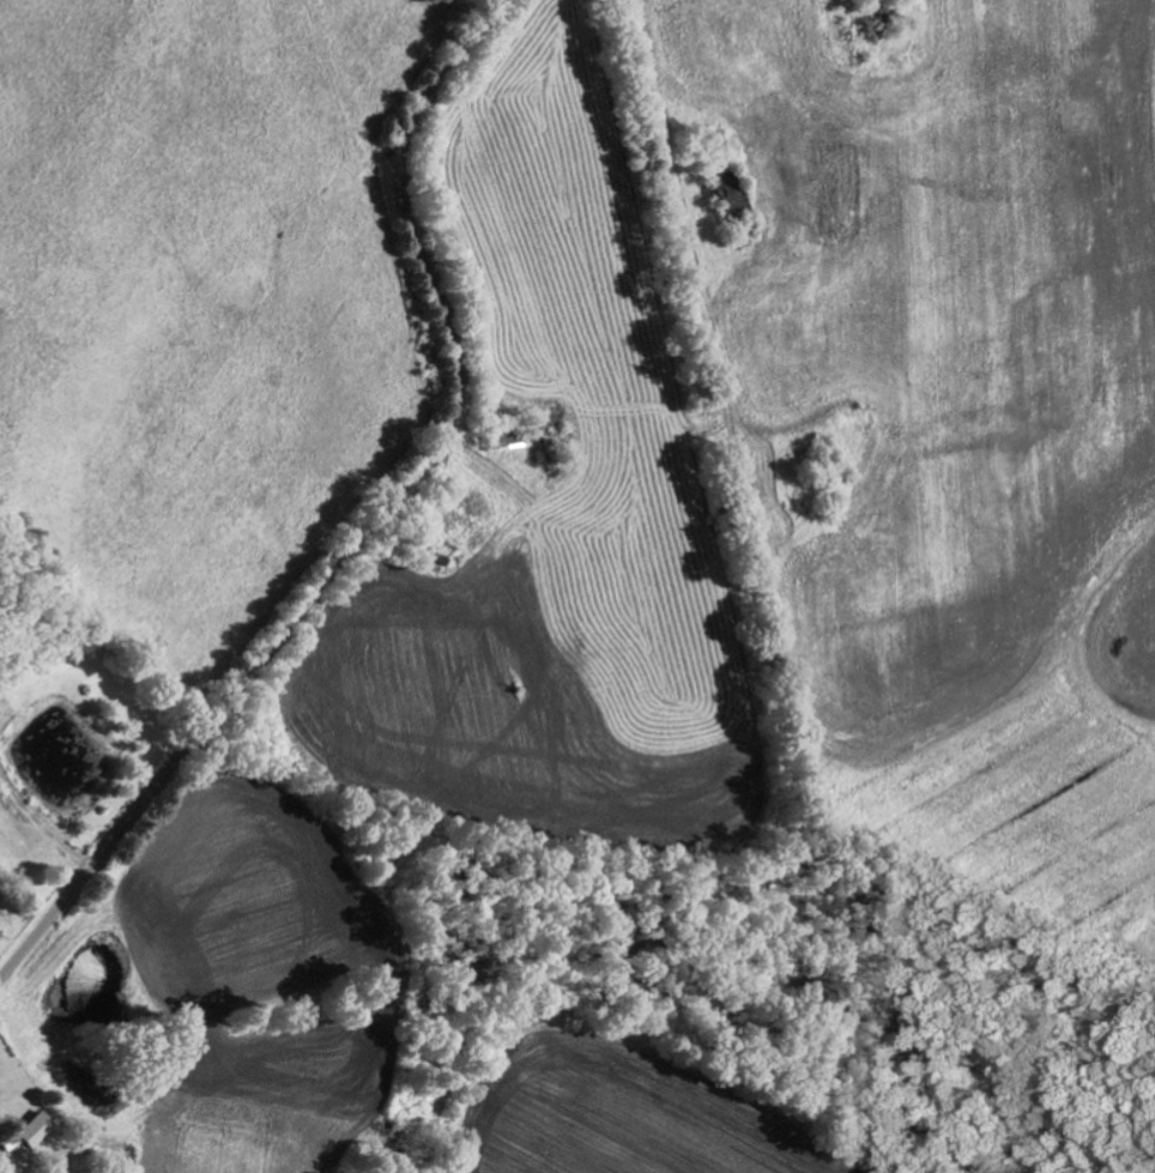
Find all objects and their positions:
road: (374, 519)
building: (35, 1127)

